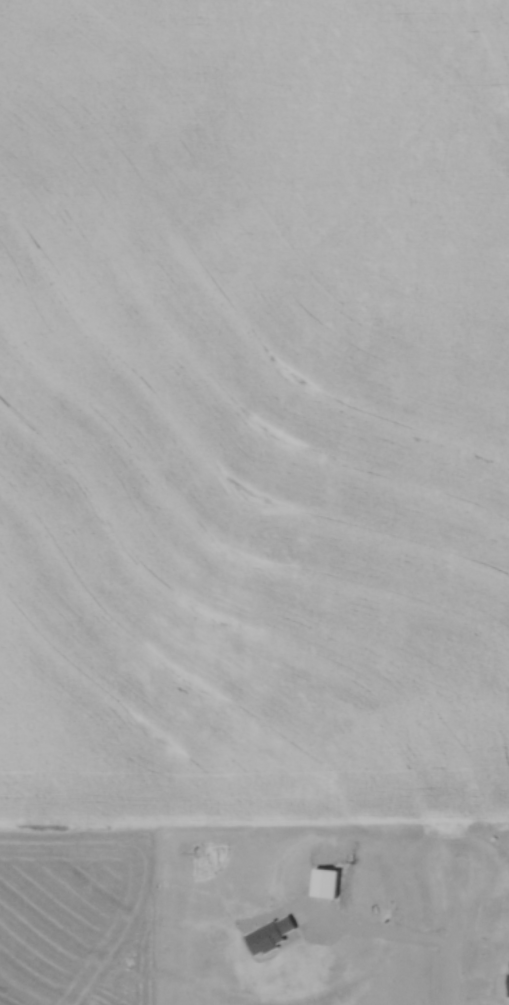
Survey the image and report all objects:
road: (382, 928)
road: (454, 937)

